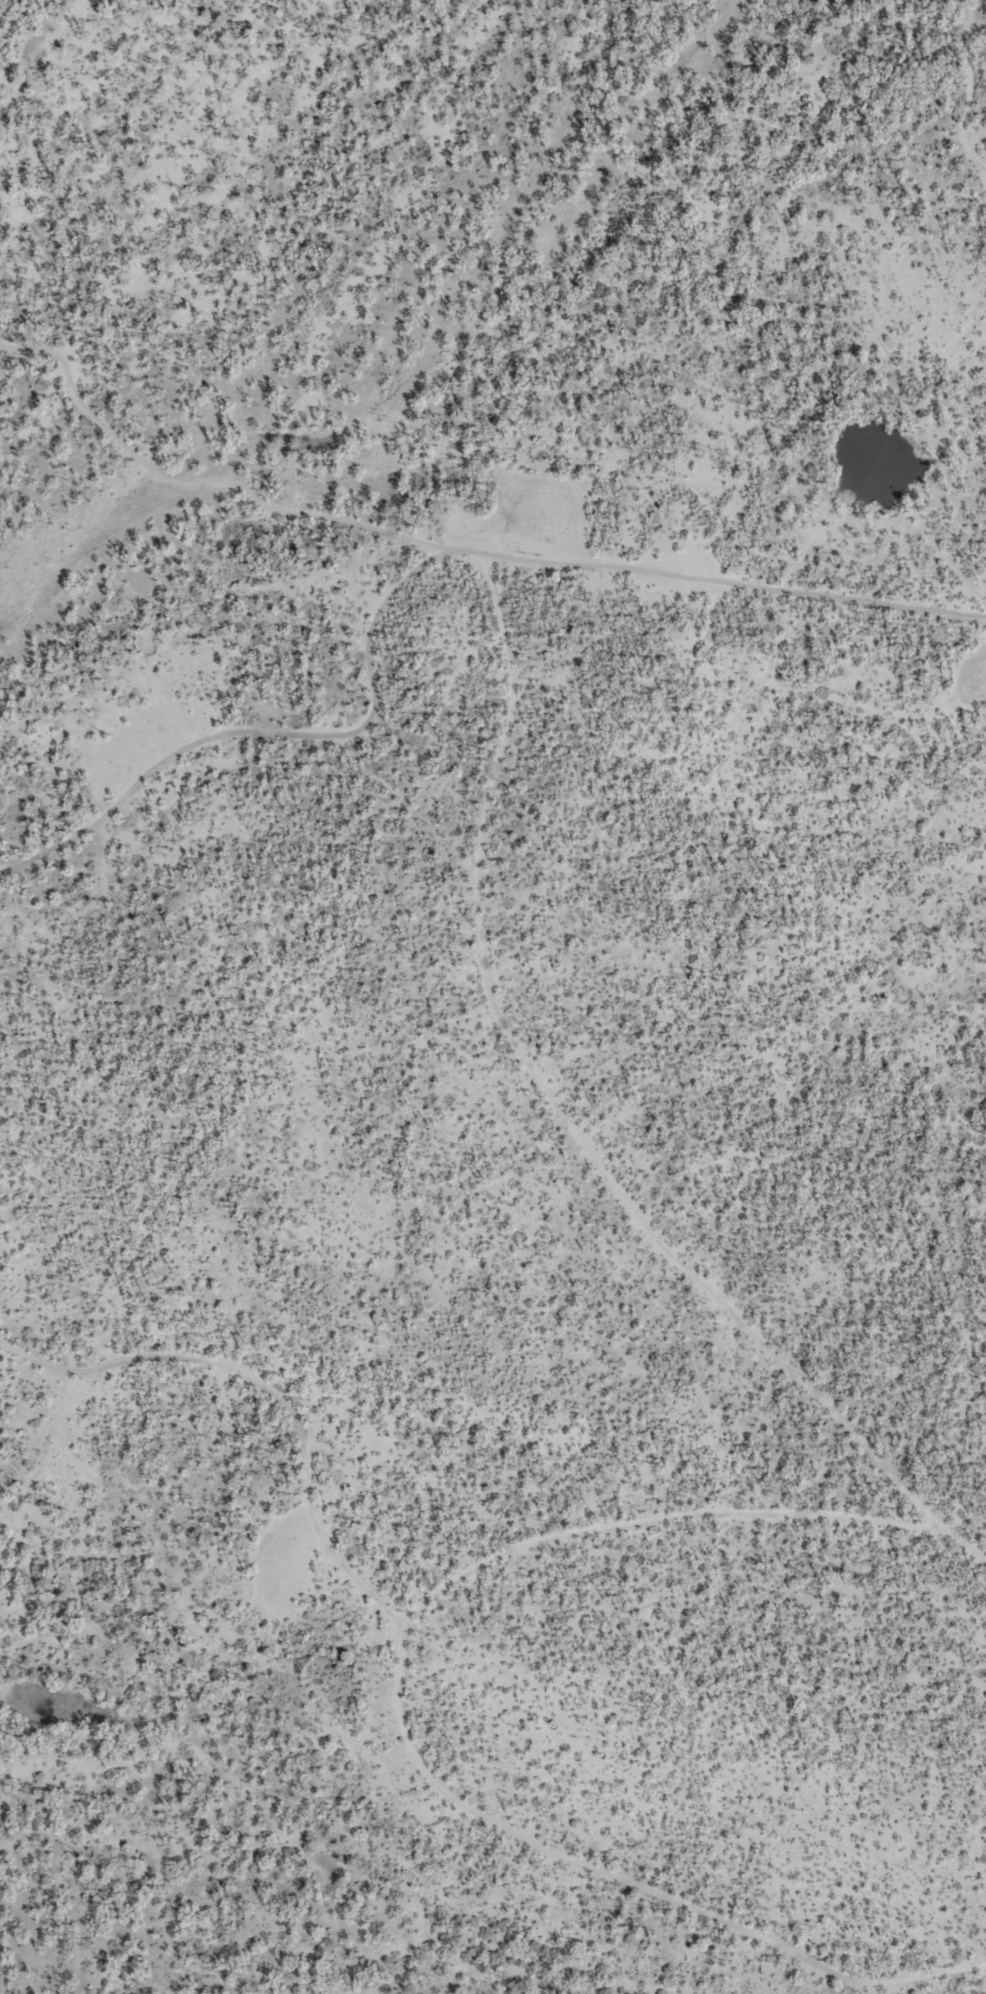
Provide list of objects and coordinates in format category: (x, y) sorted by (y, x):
road: (531, 534)
road: (375, 1657)

